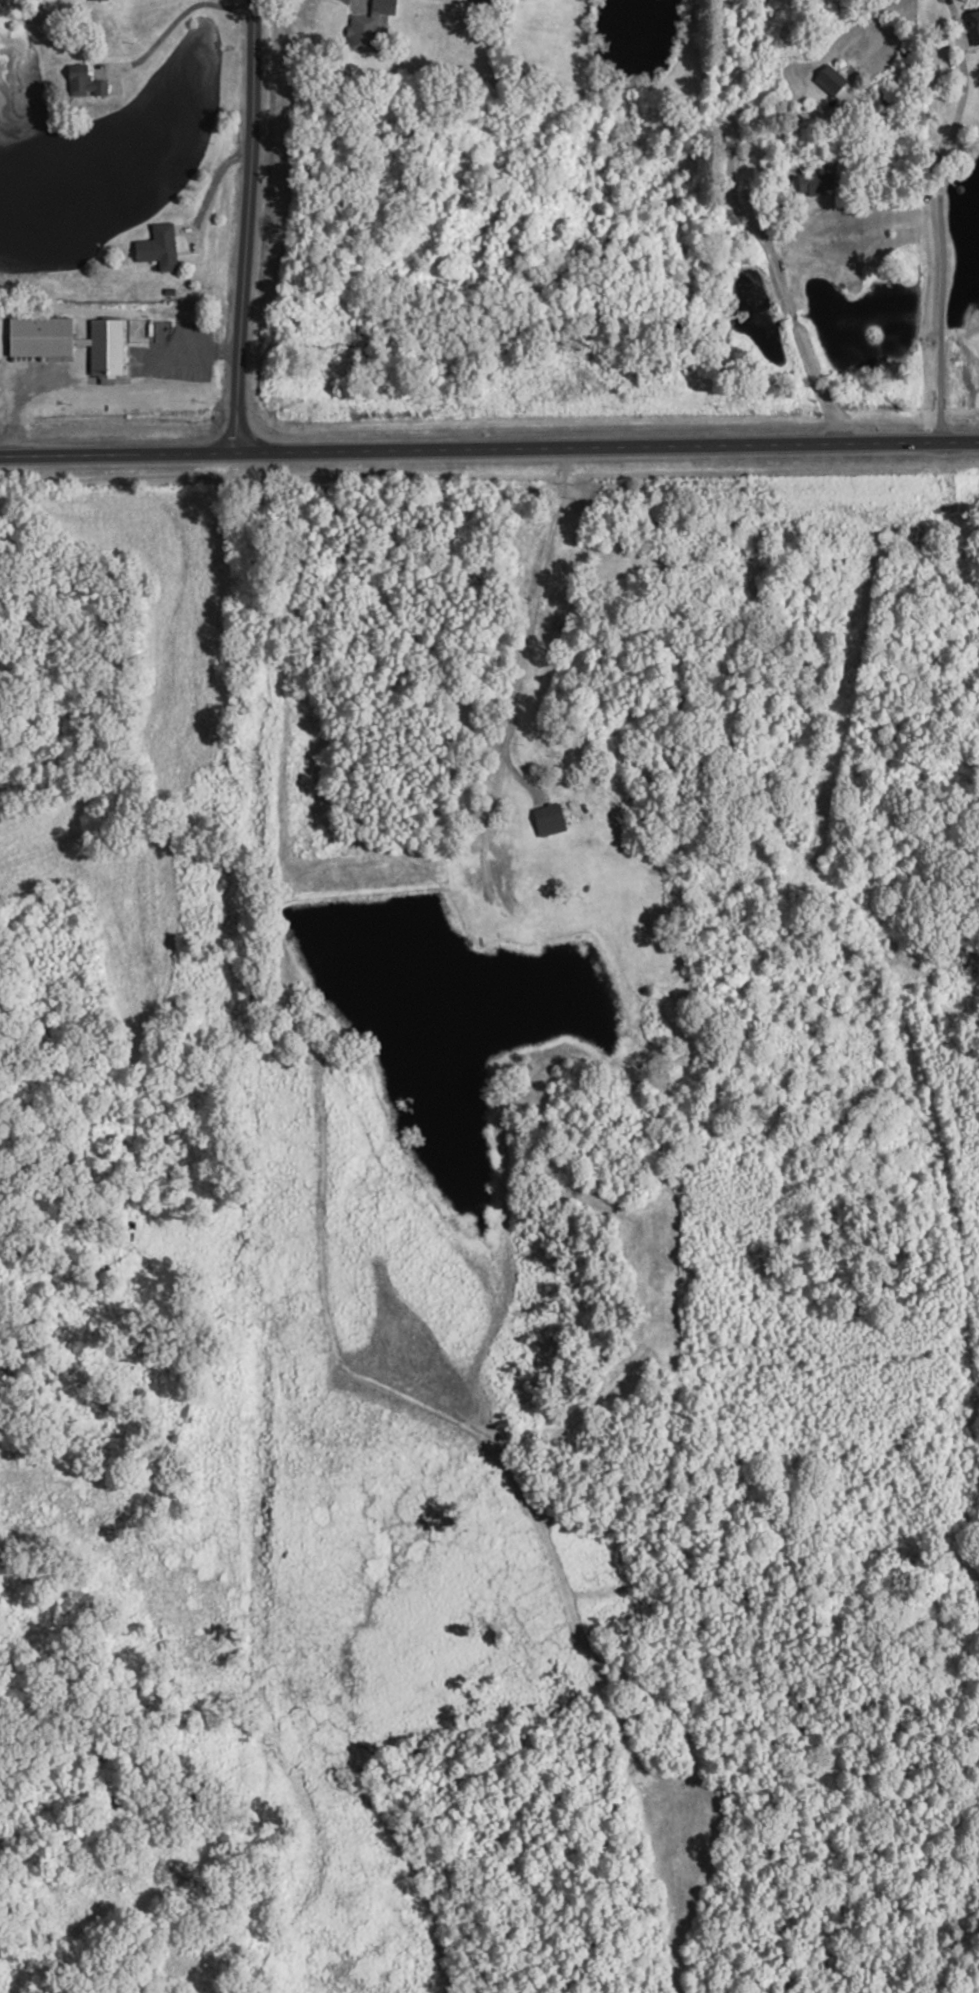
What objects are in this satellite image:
building: (93, 0)
building: (475, 1)
road: (354, 2)
road: (170, 26)
building: (972, 27)
building: (368, 30)
building: (902, 55)
building: (827, 80)
building: (81, 83)
road: (731, 139)
building: (812, 184)
road: (211, 190)
road: (938, 217)
road: (246, 226)
building: (156, 249)
road: (789, 308)
building: (36, 336)
building: (102, 347)
road: (186, 351)
road: (13, 407)
road: (489, 448)
road: (950, 519)
building: (548, 819)
road: (775, 892)
road: (485, 919)
building: (705, 931)
road: (961, 1276)
road: (634, 1384)

